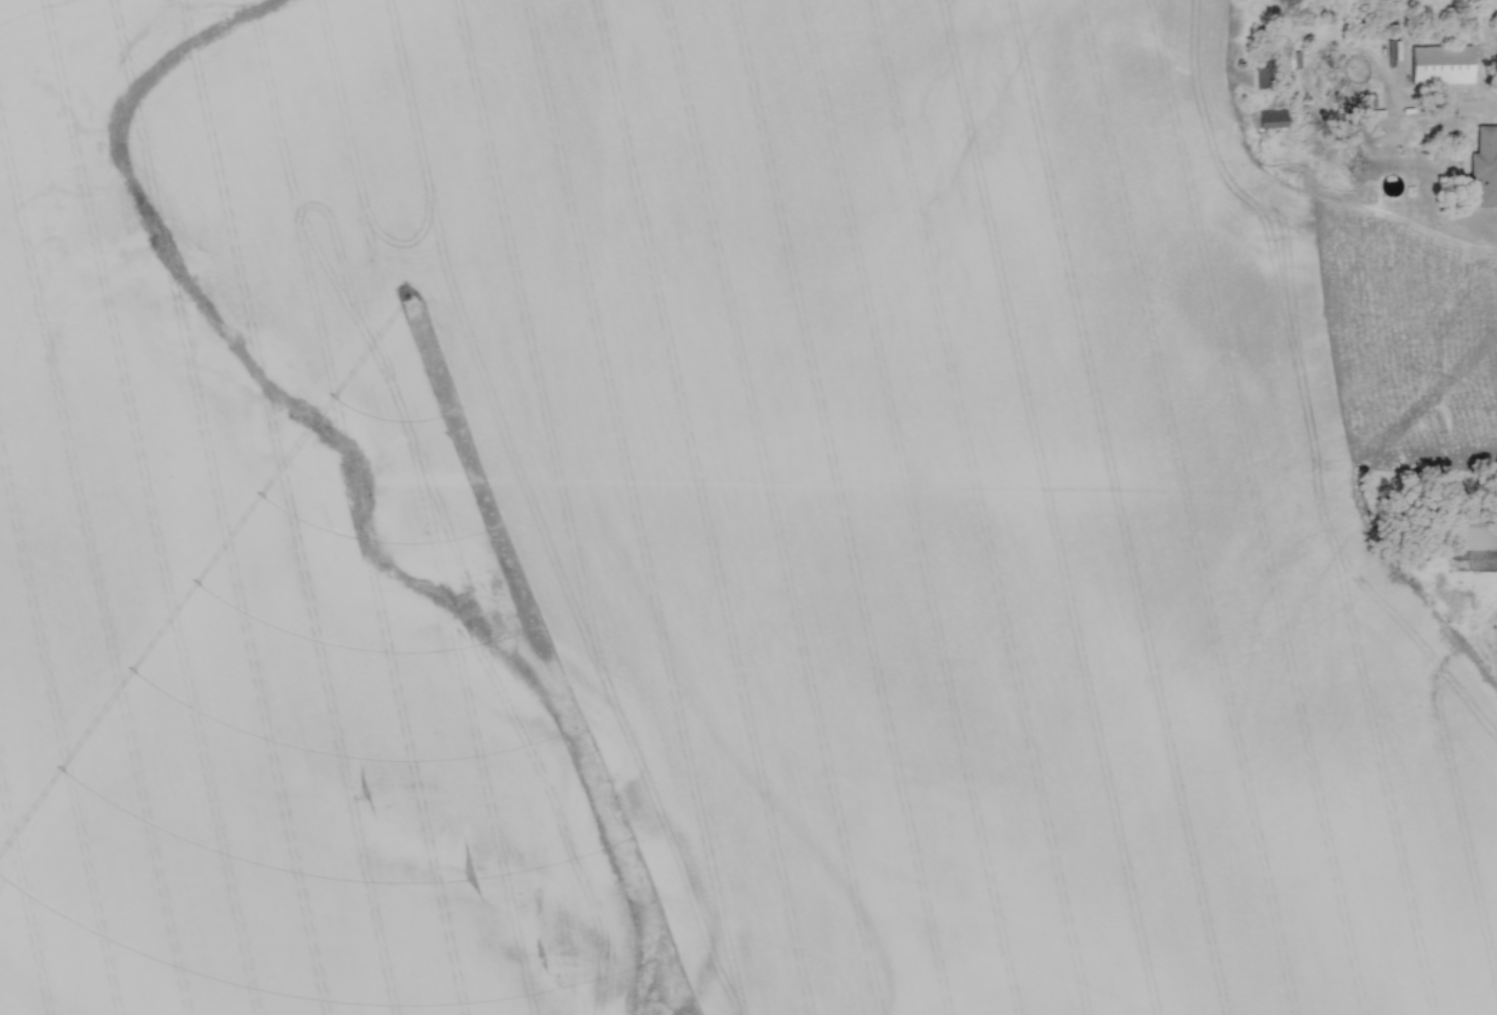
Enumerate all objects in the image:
building: (1263, 59)
building: (1441, 63)
building: (1273, 119)
building: (1485, 167)
building: (1472, 534)

